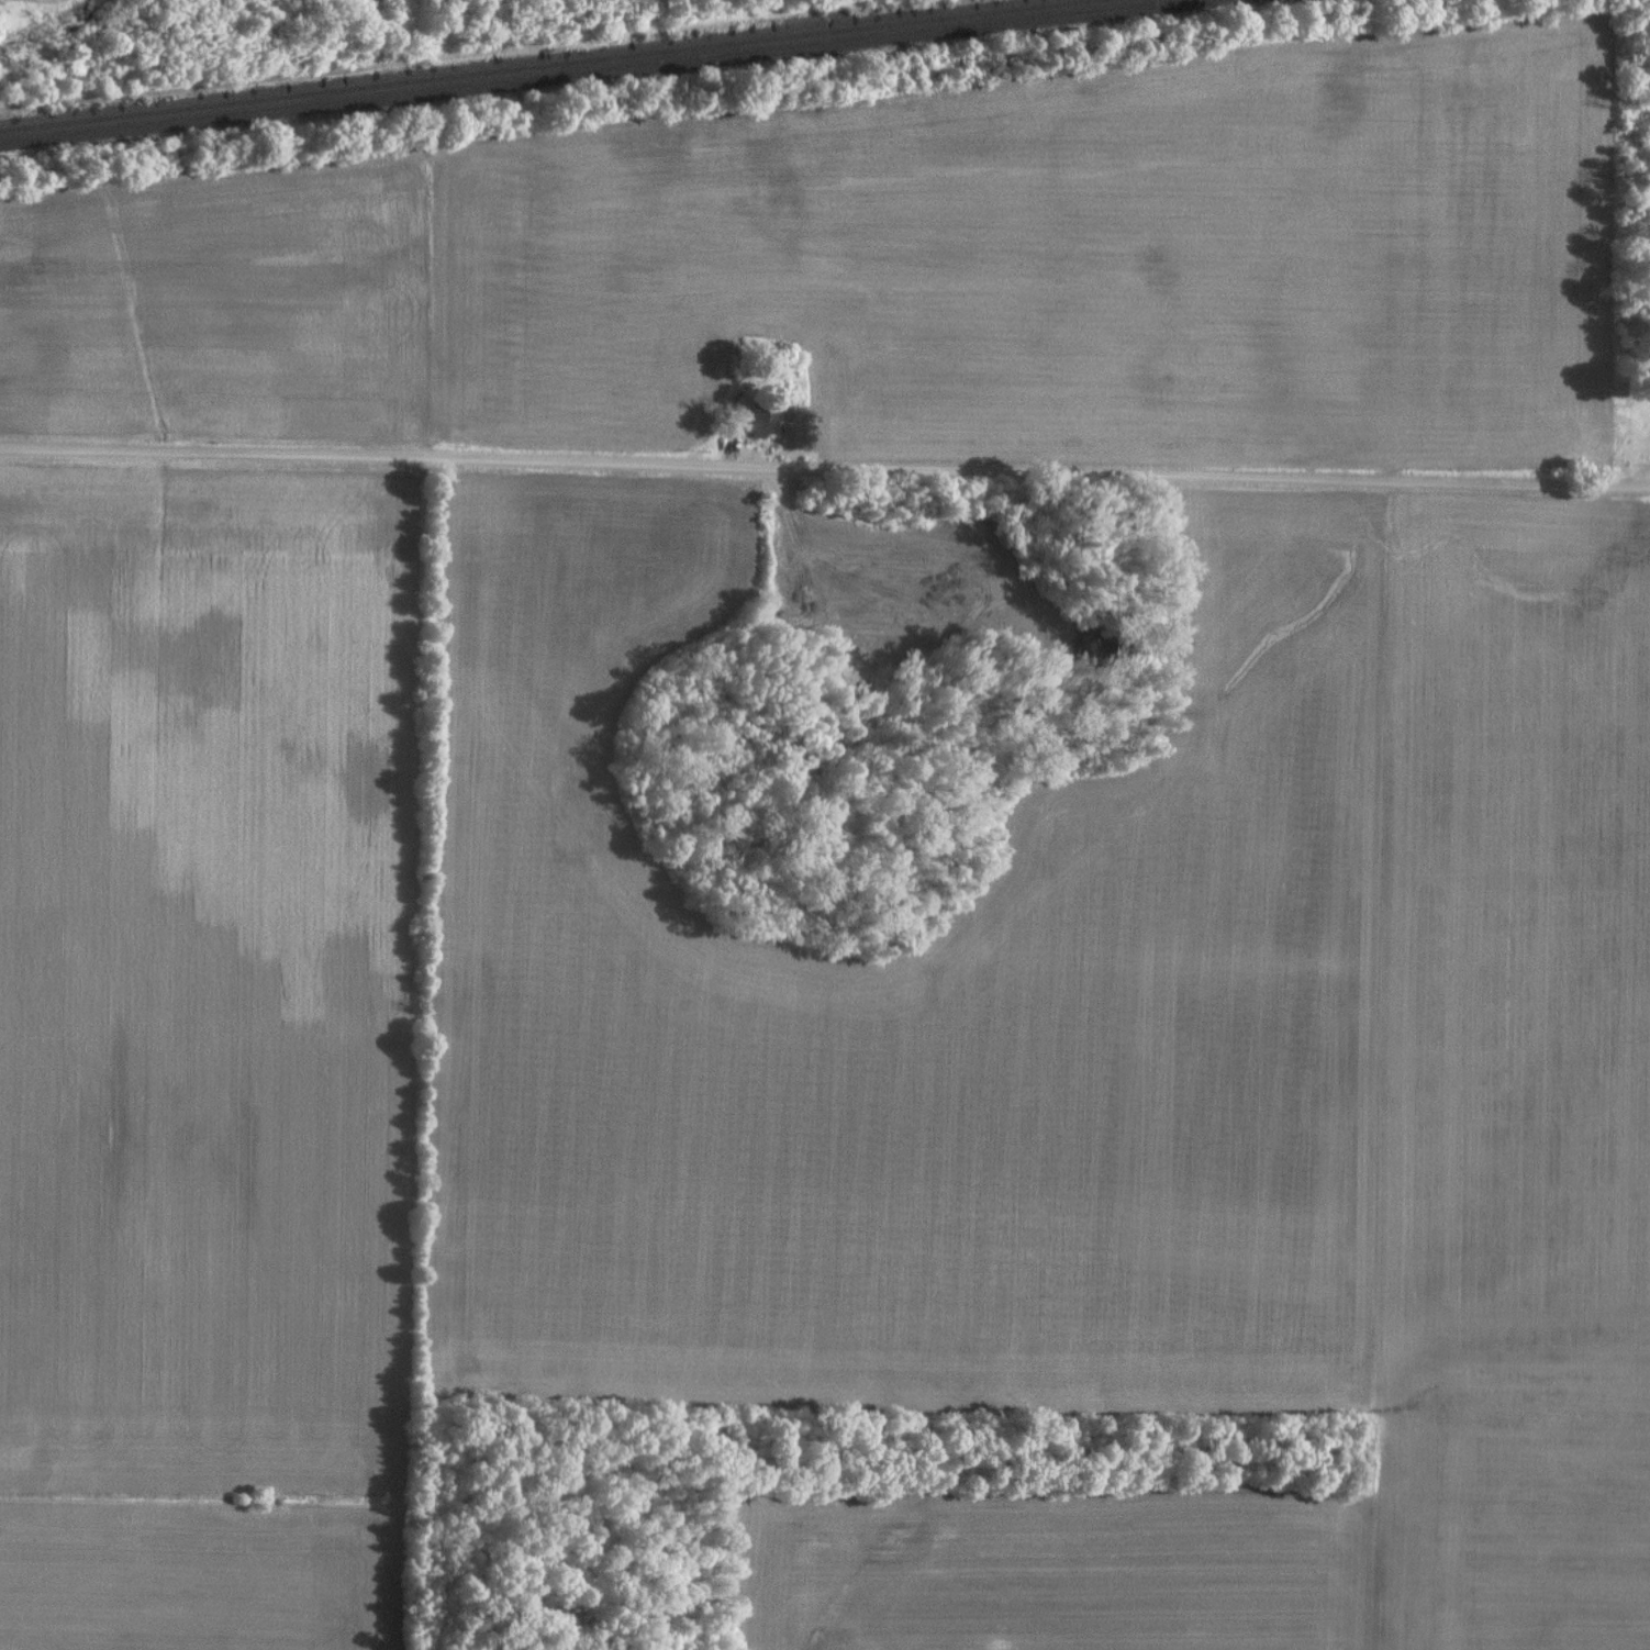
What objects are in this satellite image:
railway: (540, 65)
railway: (581, 69)
road: (825, 462)

